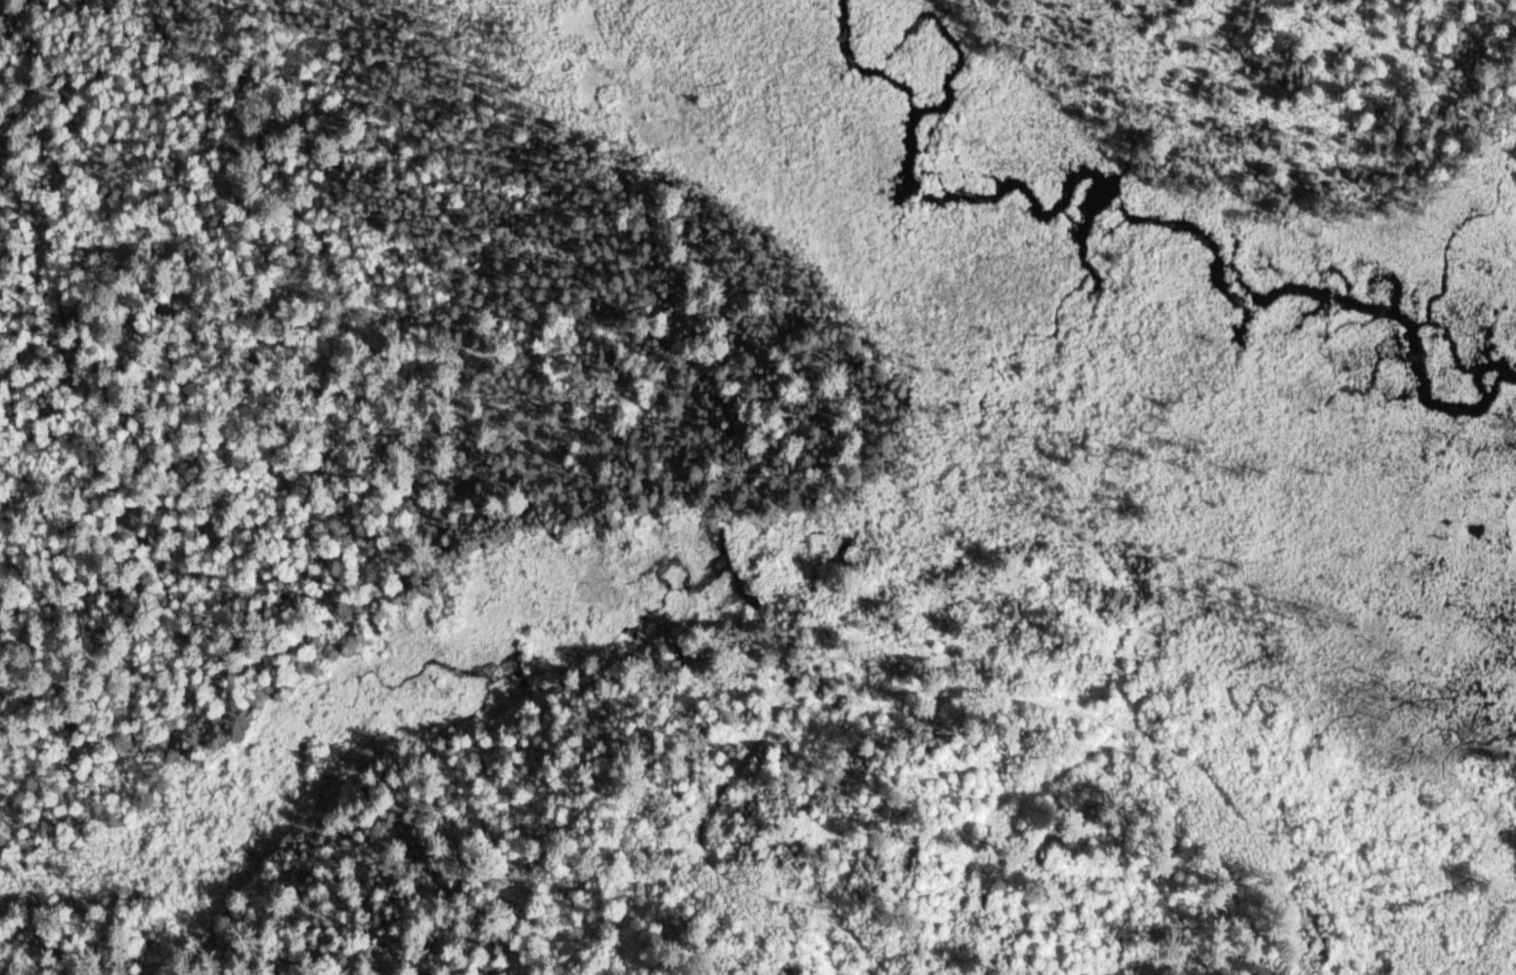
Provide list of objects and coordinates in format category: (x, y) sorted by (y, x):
road: (1187, 36)

